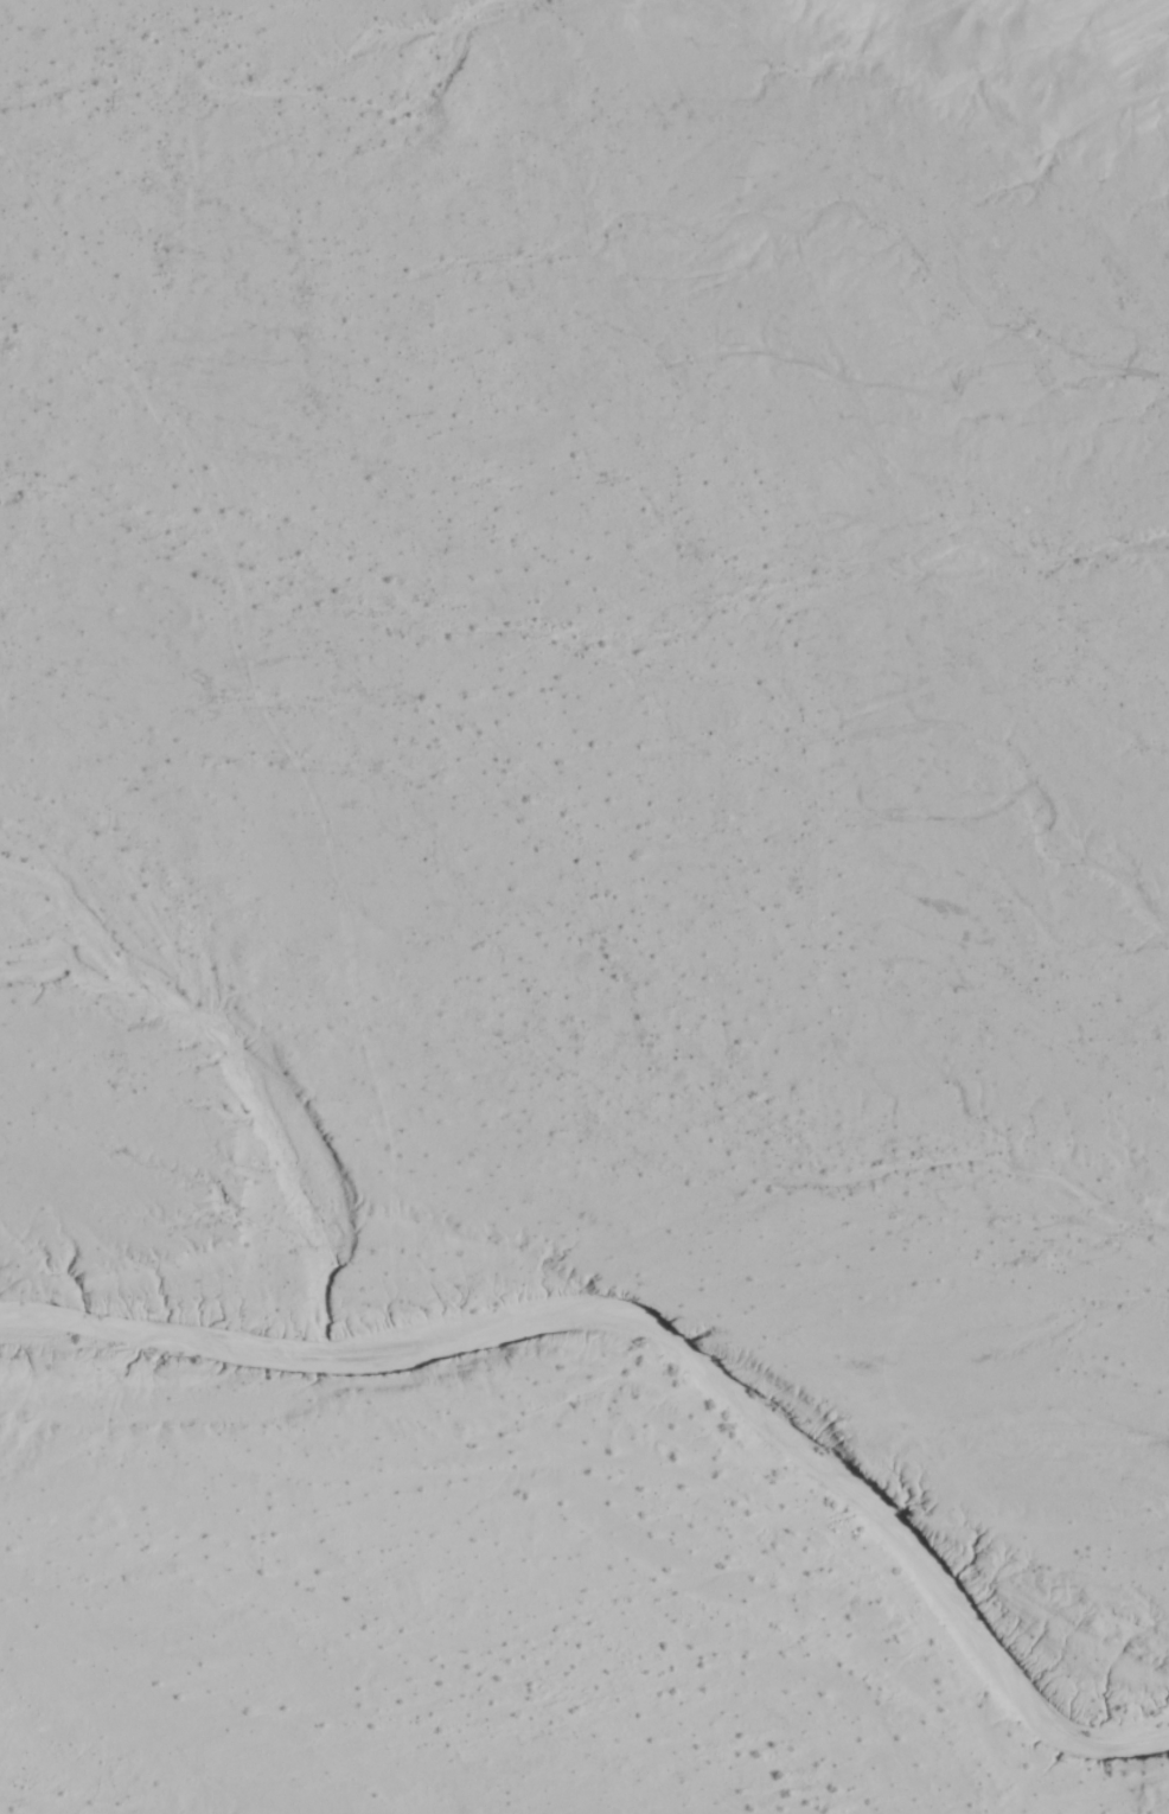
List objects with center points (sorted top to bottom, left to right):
road: (663, 1344)

